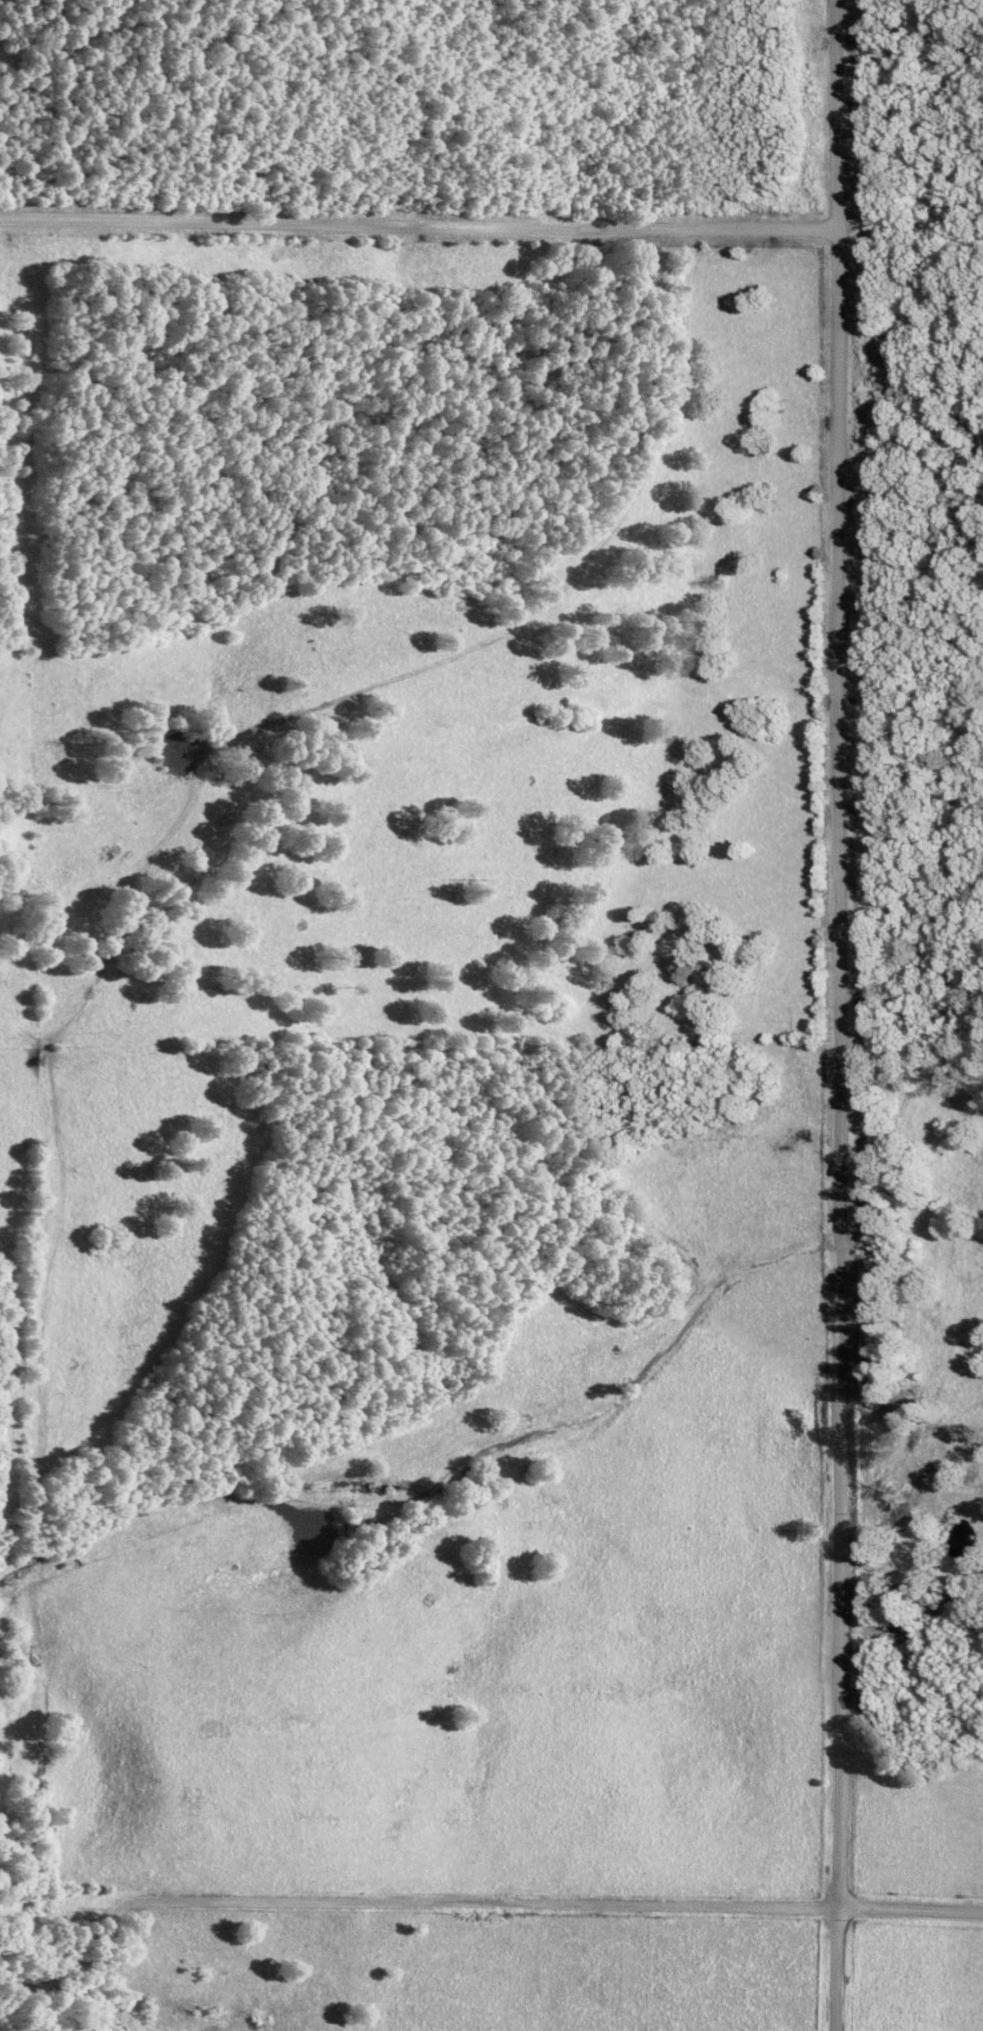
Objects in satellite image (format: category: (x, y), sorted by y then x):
road: (417, 227)
park: (909, 505)
road: (836, 1015)
road: (472, 1902)

